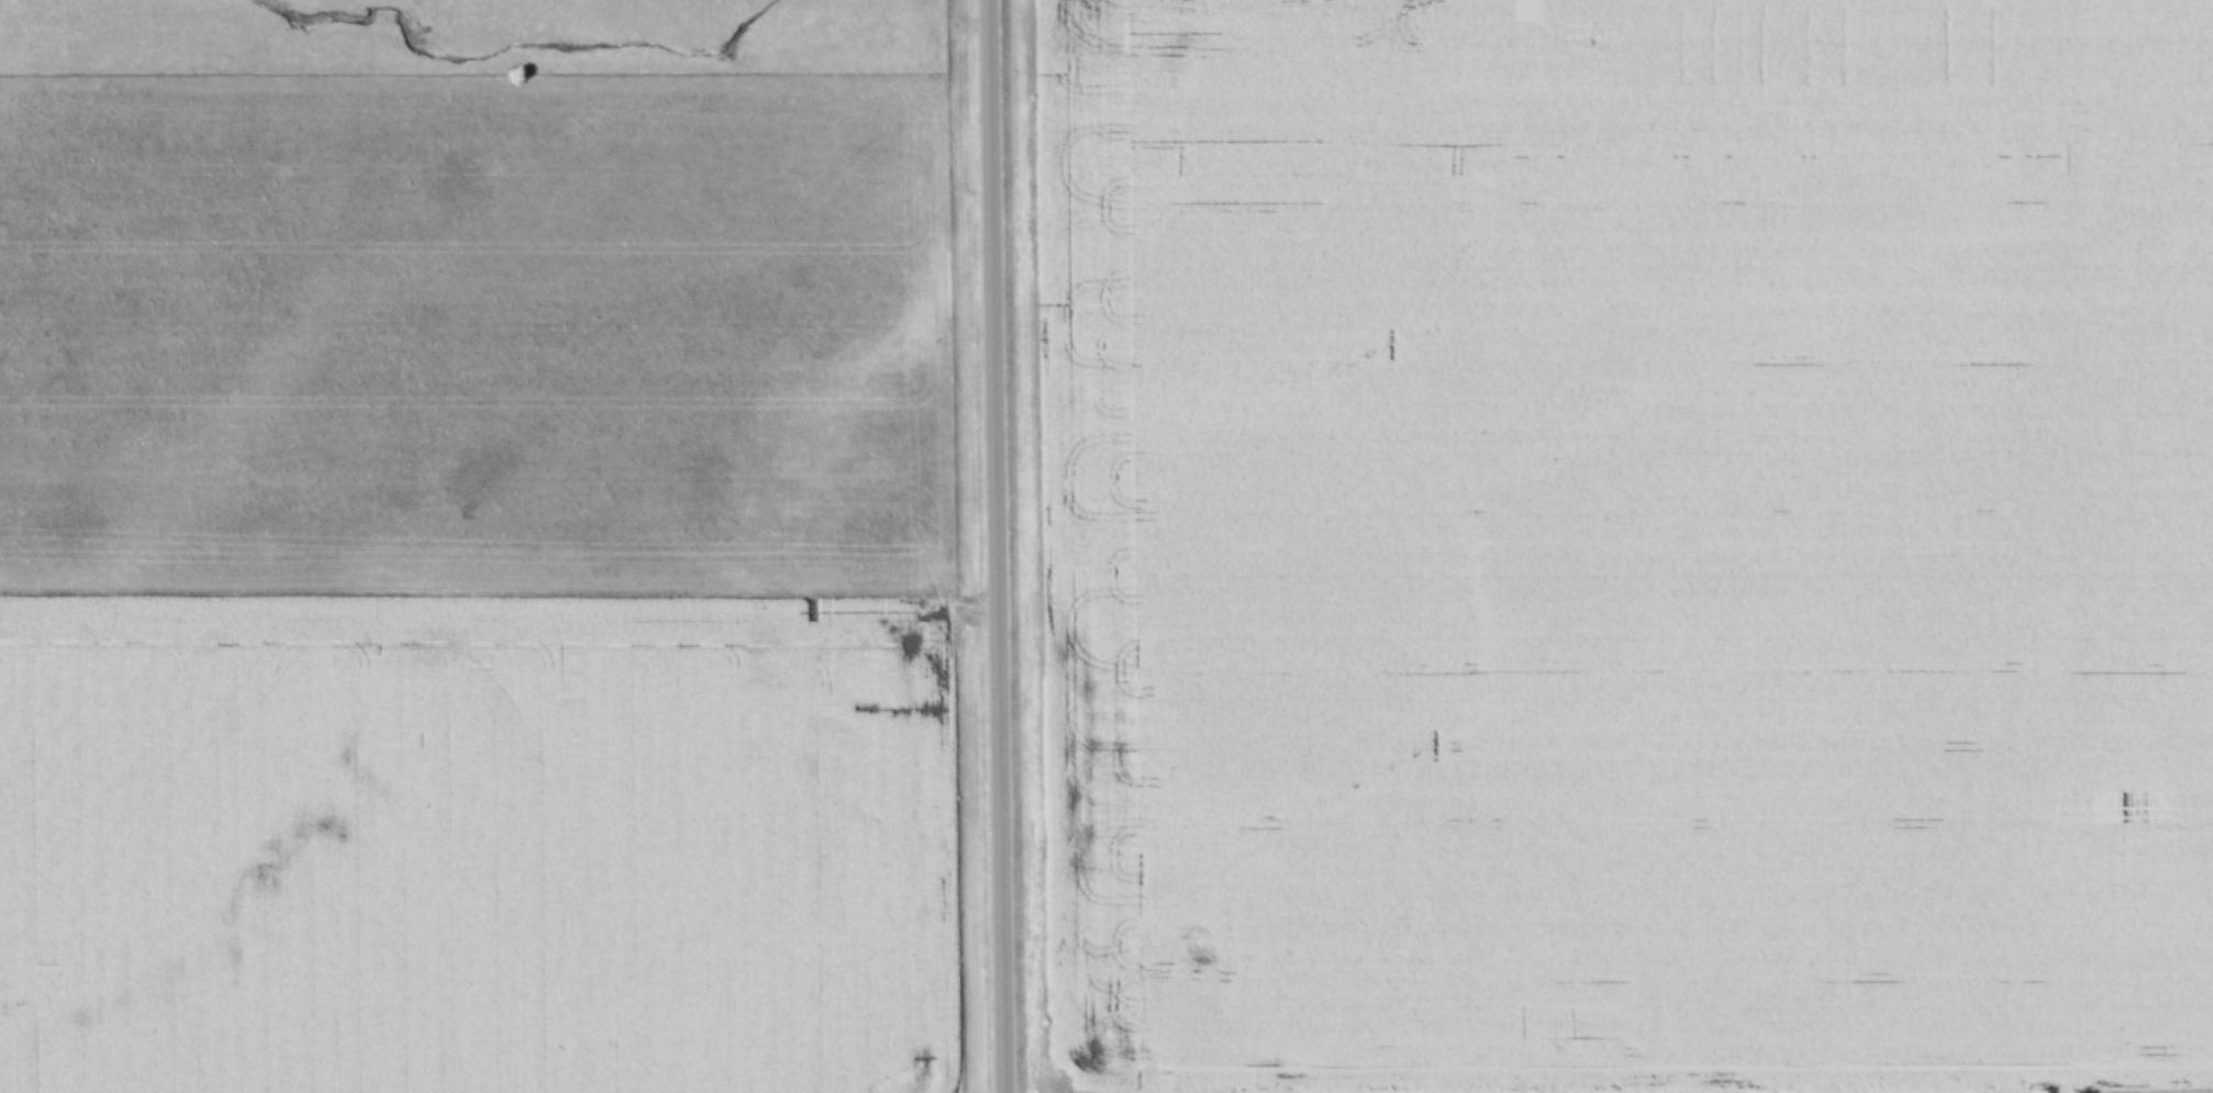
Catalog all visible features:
road: (996, 546)

